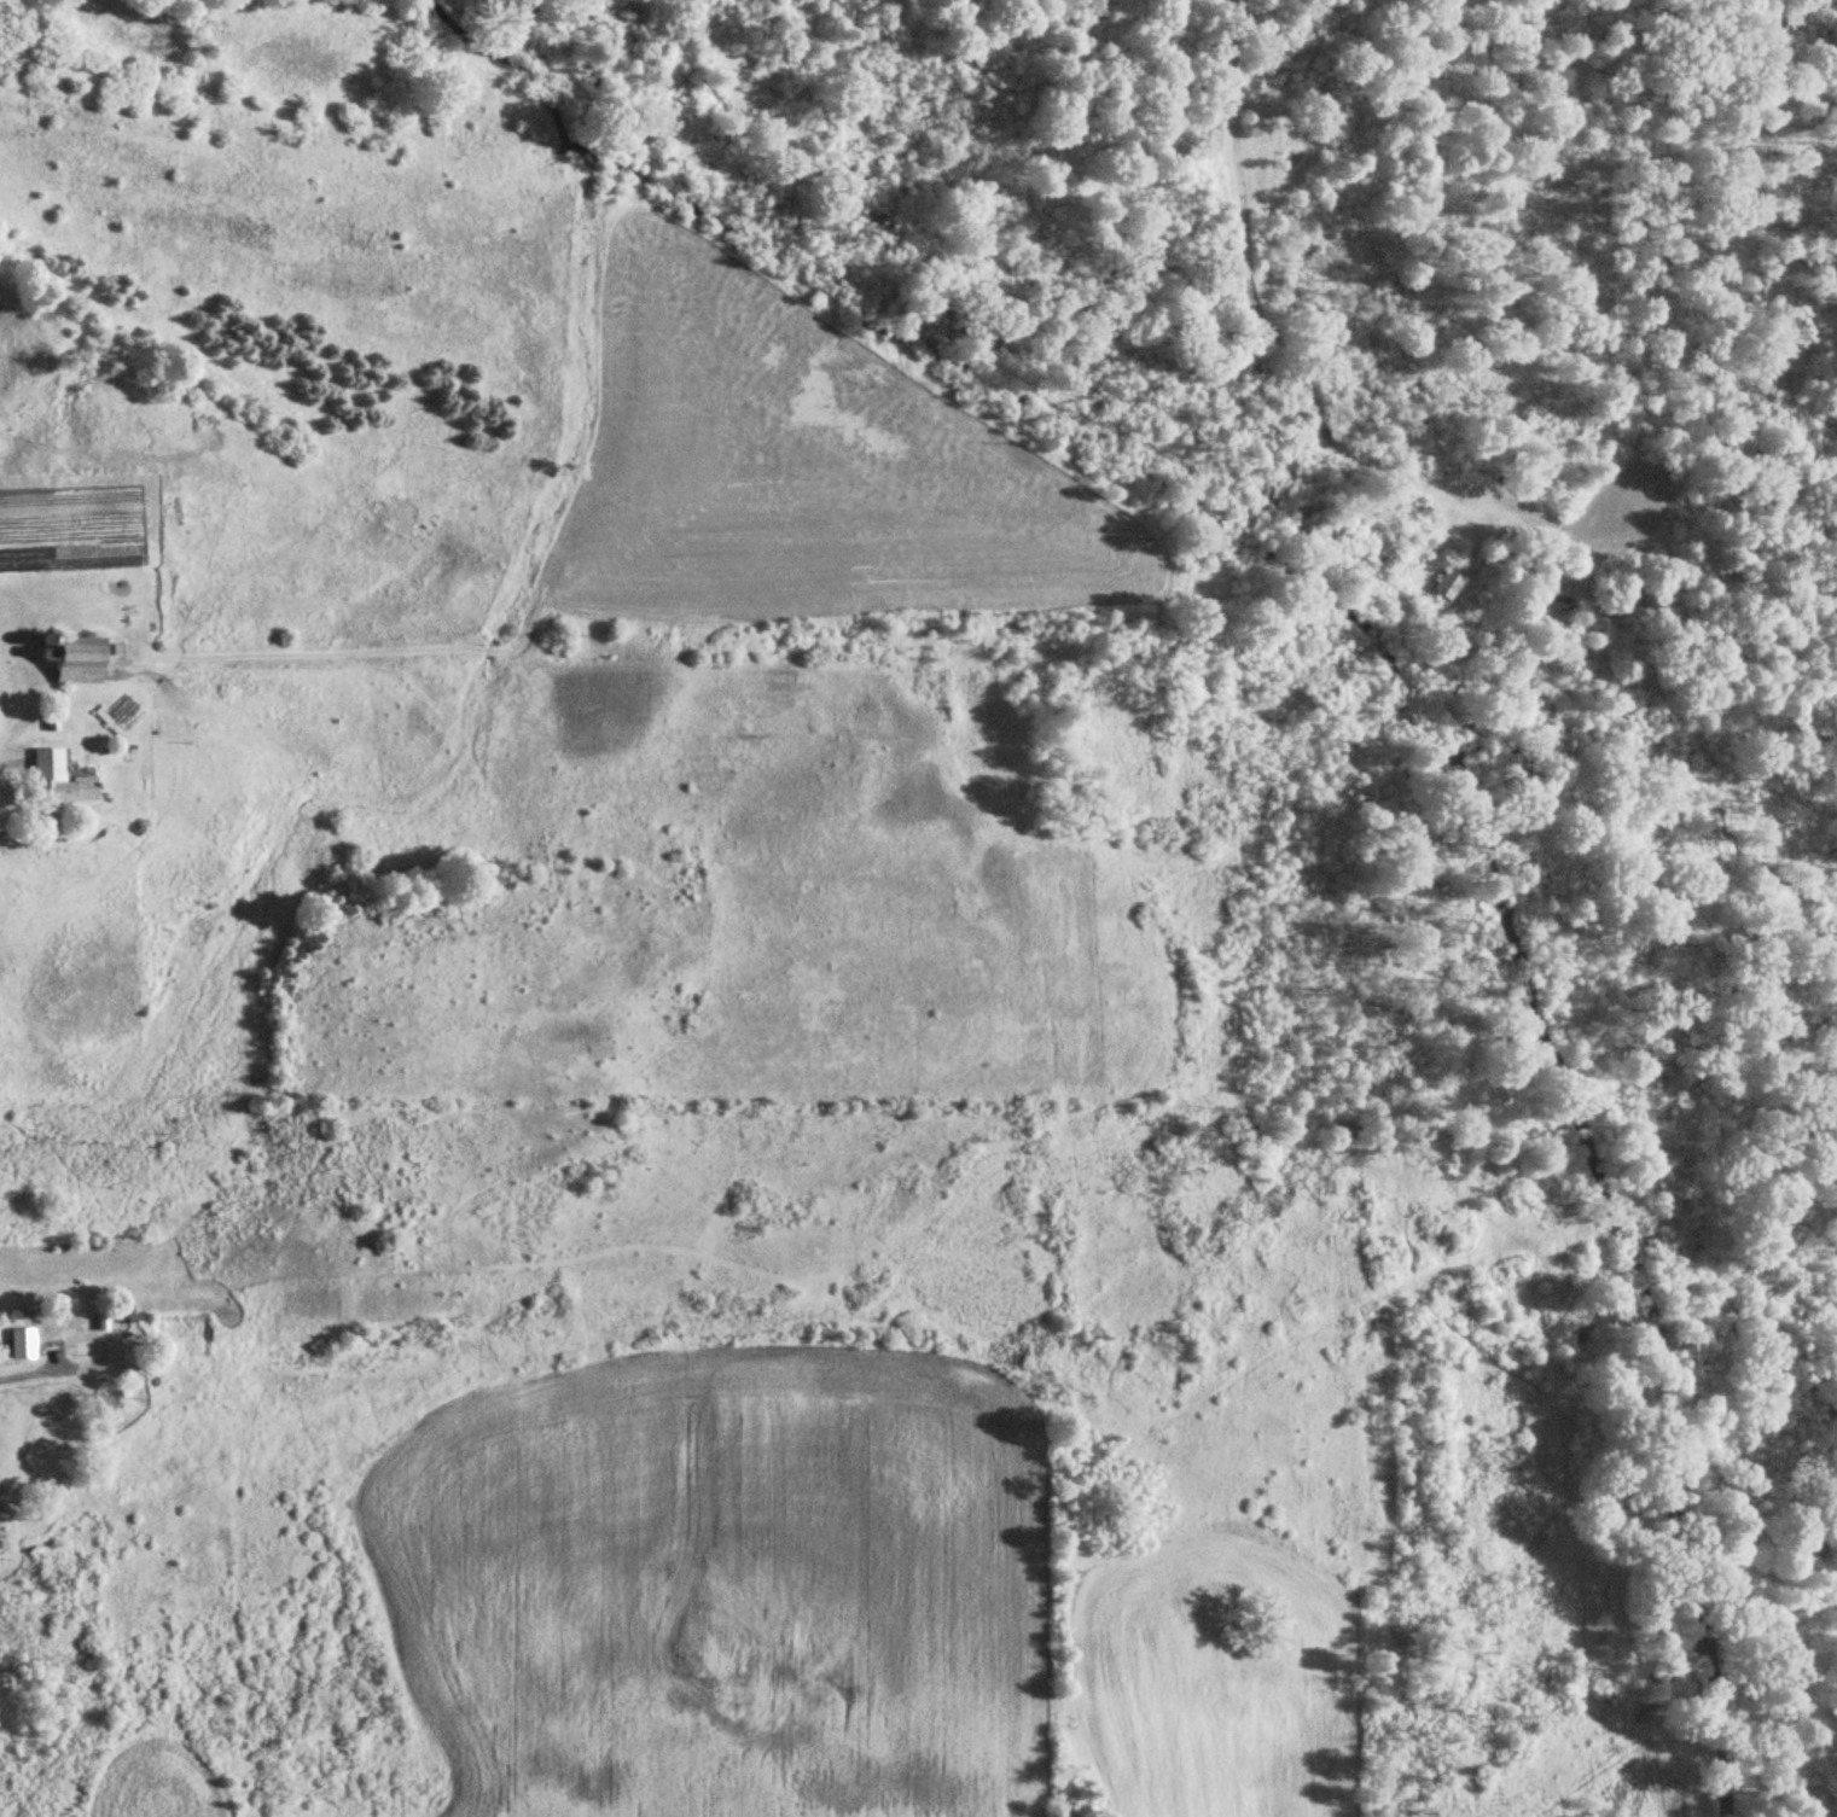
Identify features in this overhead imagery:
building: (1449, 586)
building: (77, 658)
building: (51, 720)
road: (10, 762)
building: (57, 776)
building: (123, 1312)
building: (21, 1341)
road: (34, 1373)

